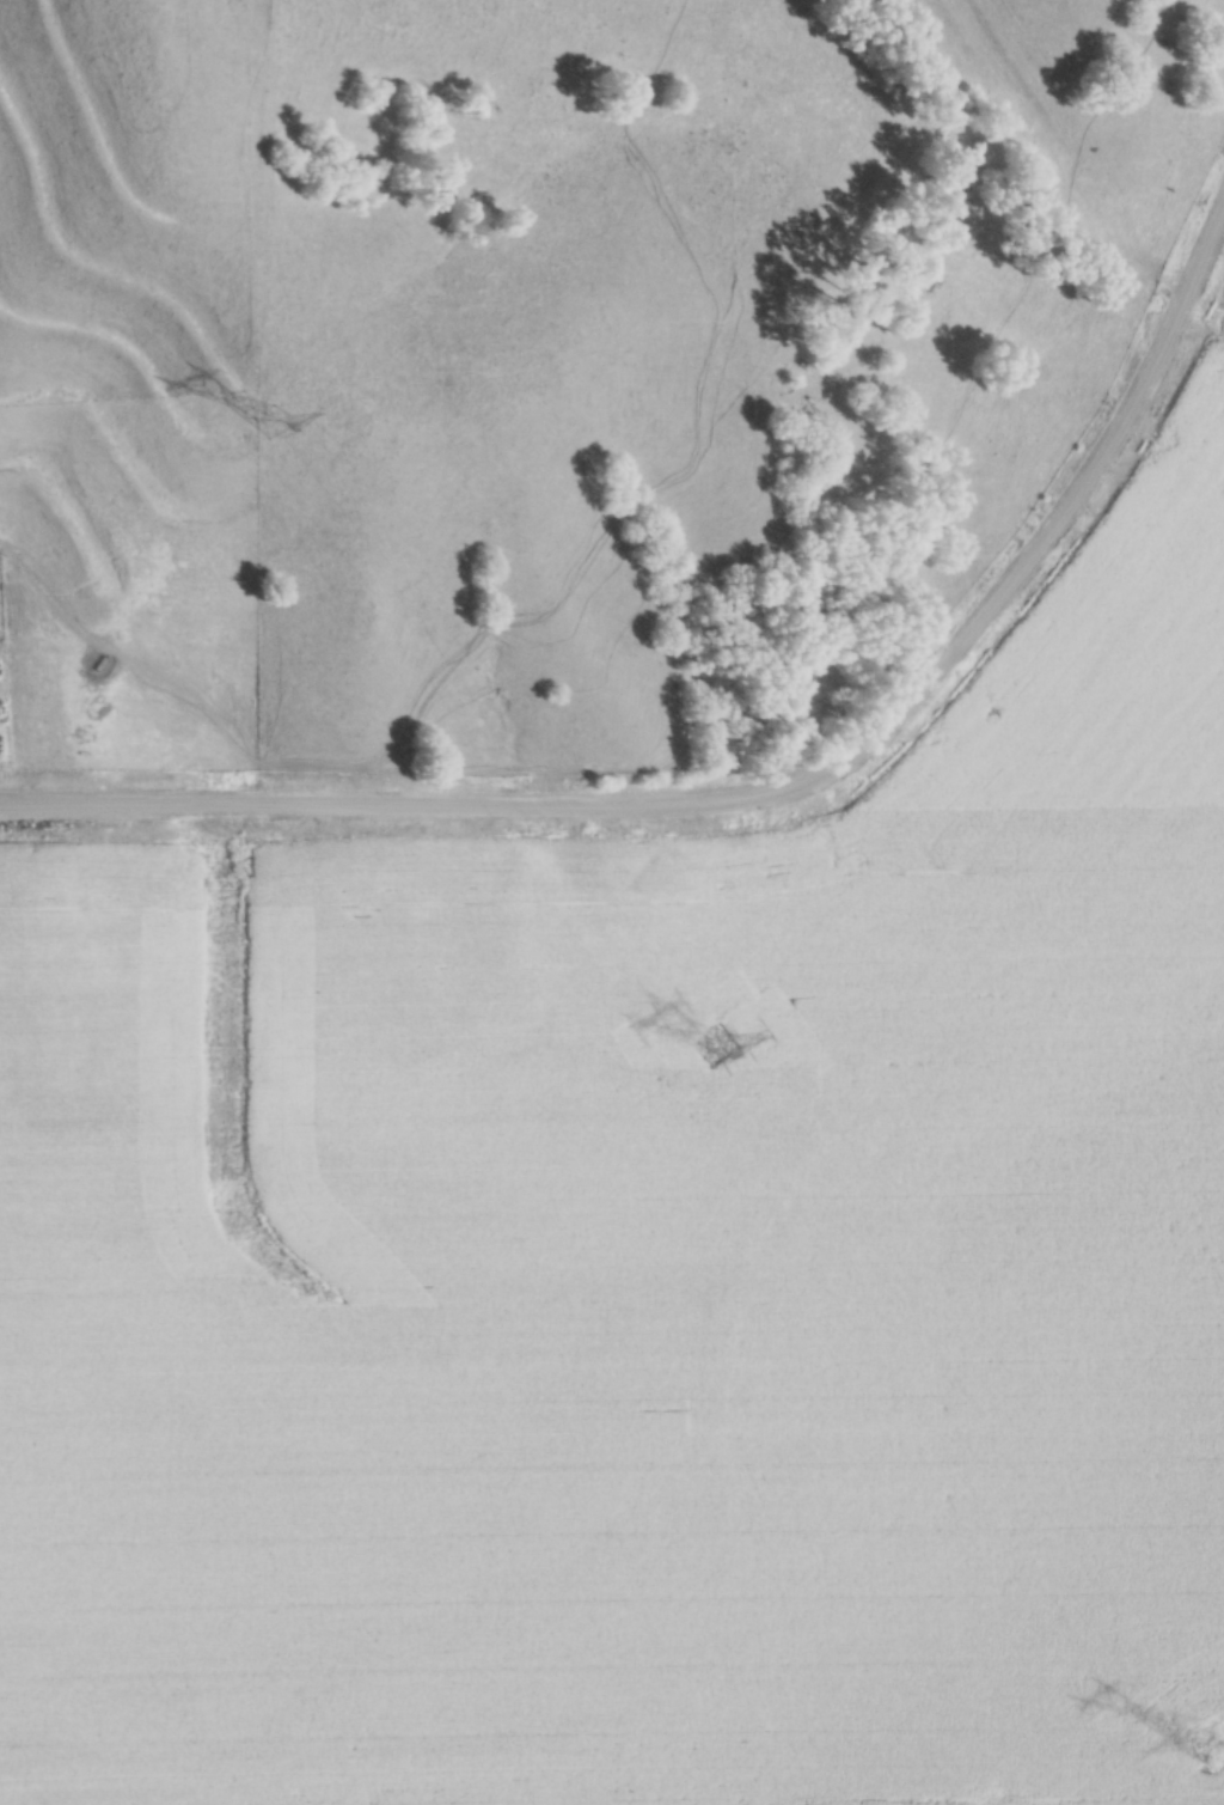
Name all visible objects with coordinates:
power tower: (277, 409)
road: (770, 801)
power tower: (722, 1038)
power tower: (1210, 1737)

